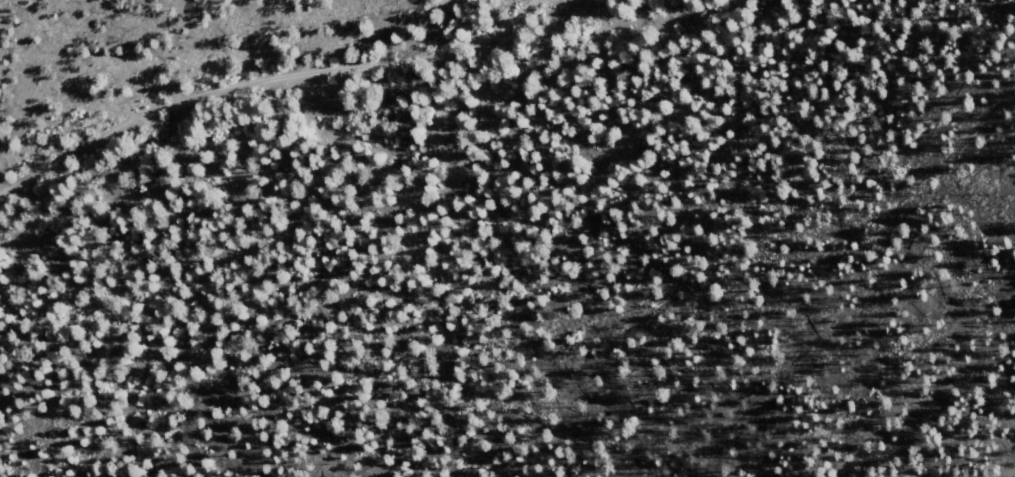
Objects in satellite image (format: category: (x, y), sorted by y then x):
road: (226, 79)

